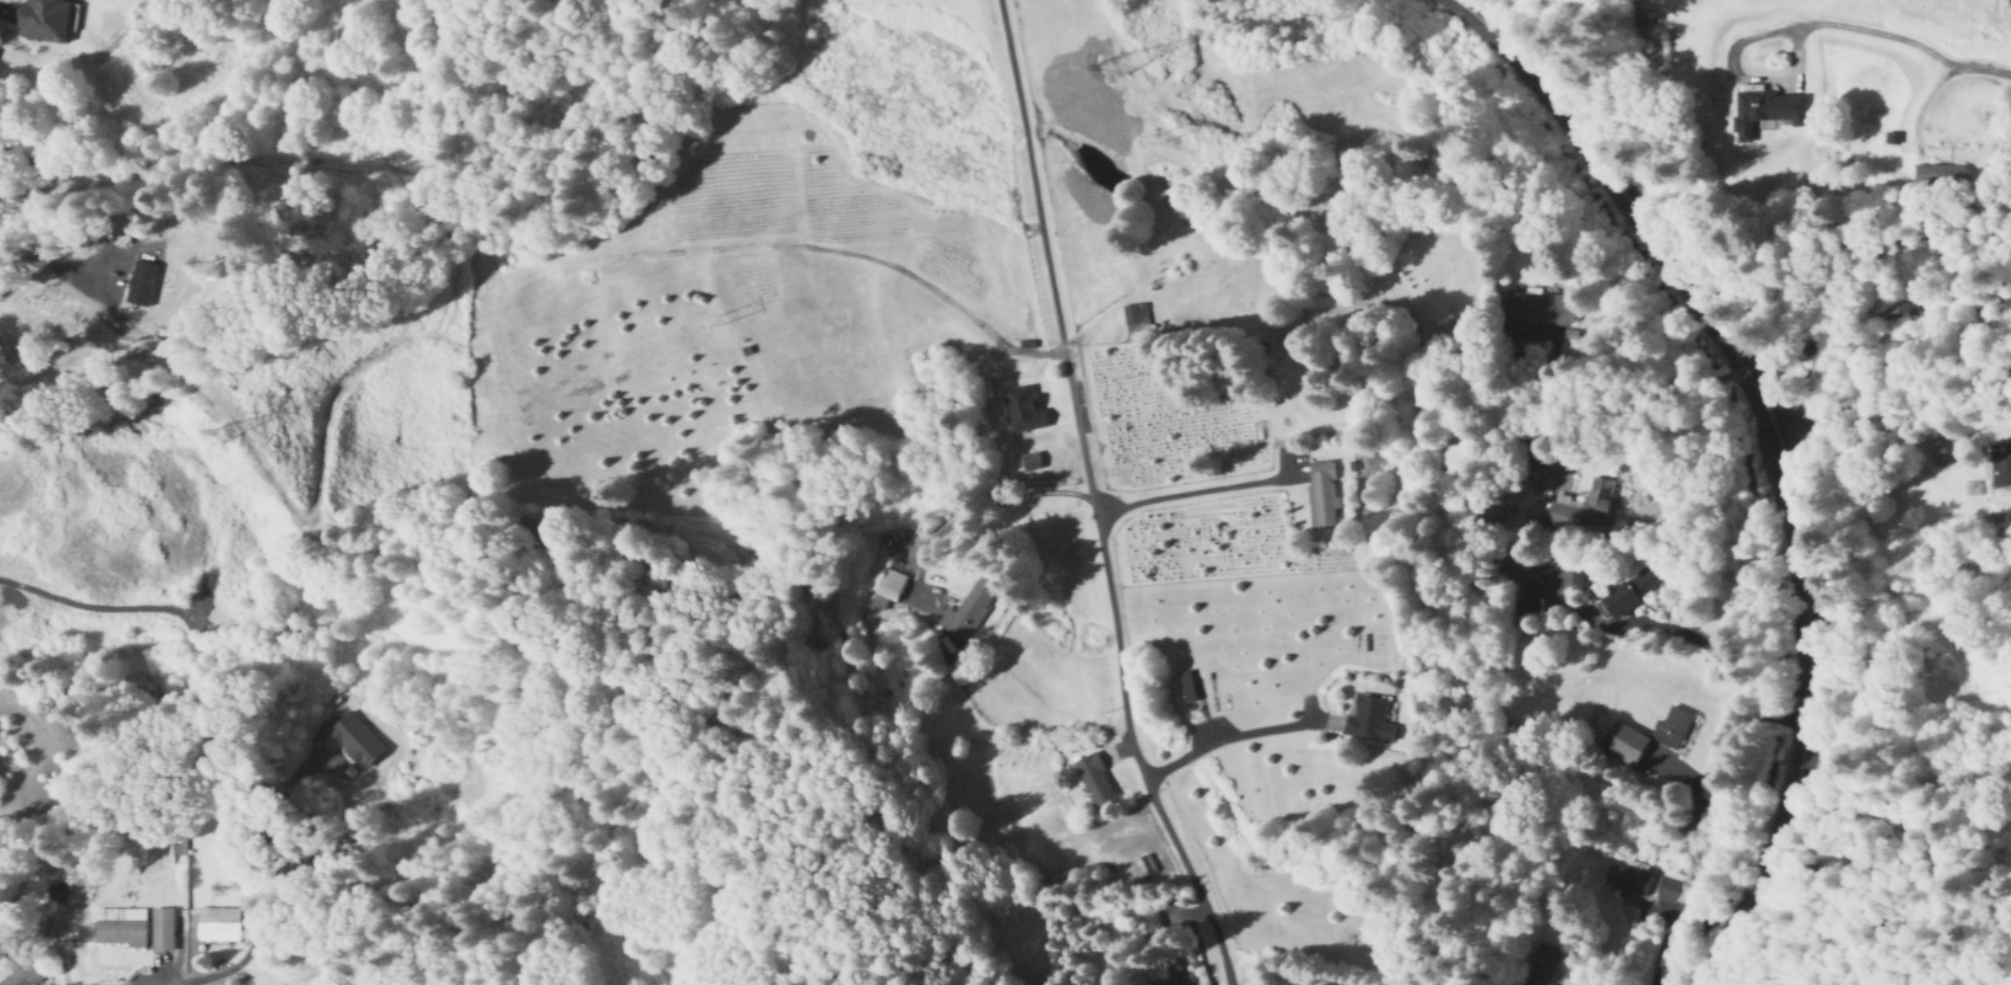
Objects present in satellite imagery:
building: (2008, 4)
building: (42, 21)
power tower: (1123, 61)
building: (1765, 111)
building: (1939, 174)
road: (39, 257)
building: (1537, 309)
building: (1135, 318)
road: (1624, 357)
power tower: (229, 439)
road: (1753, 443)
building: (1029, 462)
building: (2000, 464)
road: (1188, 491)
building: (1321, 495)
road: (1094, 499)
building: (1598, 502)
road: (974, 503)
building: (884, 588)
building: (1630, 592)
building: (968, 610)
road: (1715, 660)
building: (1186, 687)
building: (1368, 719)
building: (1673, 727)
road: (1225, 739)
building: (1624, 743)
building: (358, 774)
building: (1094, 780)
building: (1691, 824)
building: (1144, 866)
building: (1625, 880)
building: (1669, 889)
building: (1151, 925)
building: (219, 926)
building: (120, 928)
building: (163, 930)
road: (1648, 952)
building: (1542, 966)
building: (19, 969)
road: (213, 975)
building: (1175, 980)

